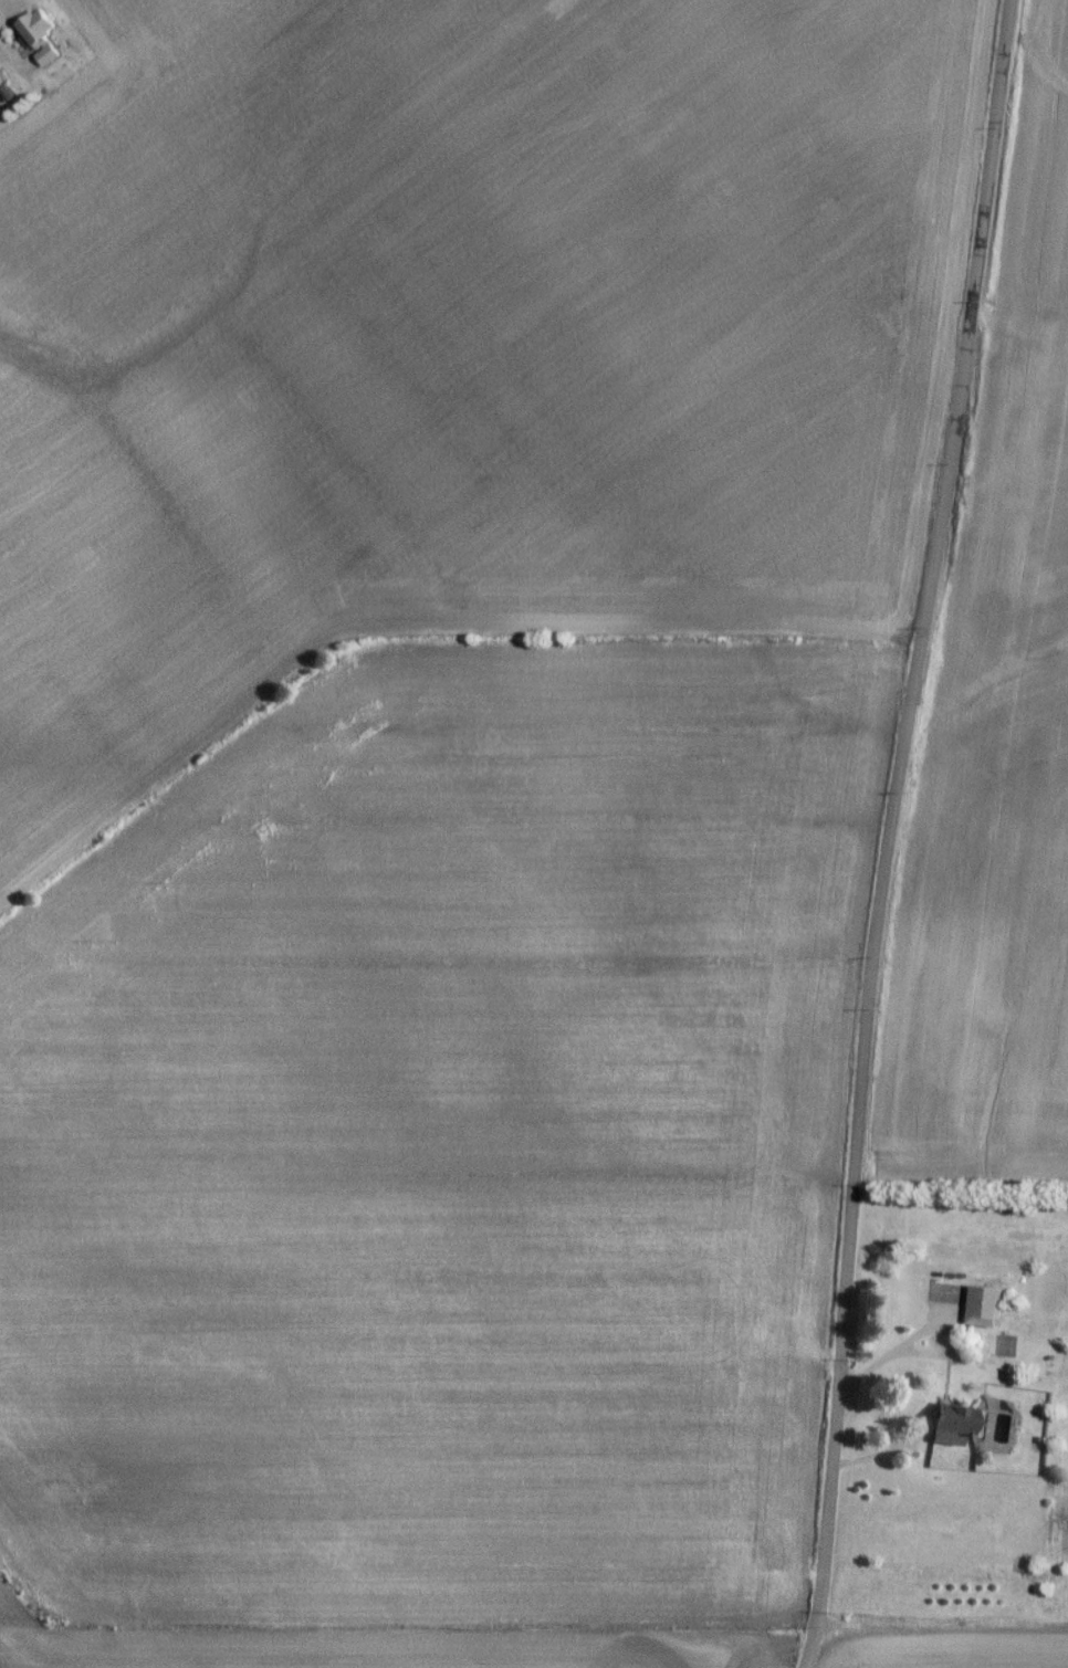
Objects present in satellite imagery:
building: (39, 33)
road: (9, 61)
road: (891, 811)
building: (952, 1298)
building: (956, 1424)
road: (942, 1628)
road: (809, 1648)

